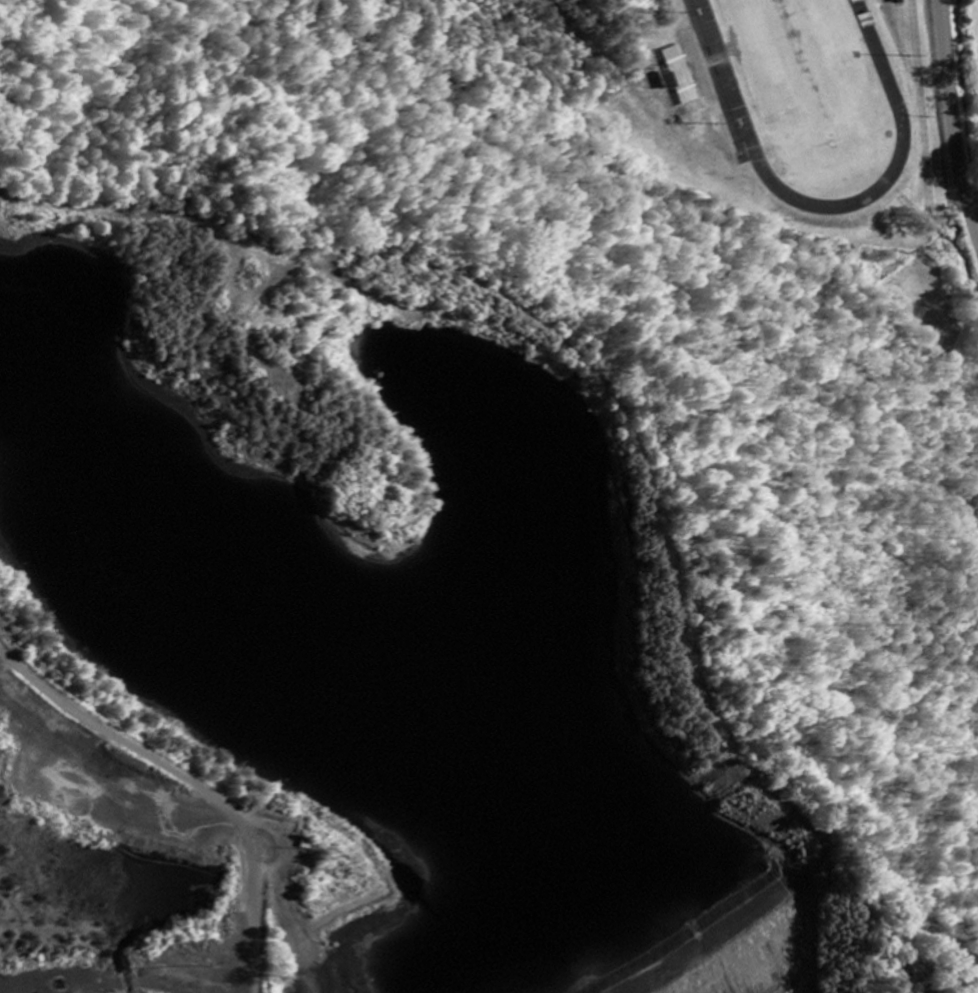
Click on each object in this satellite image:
building: (681, 77)
road: (955, 115)
road: (194, 783)

